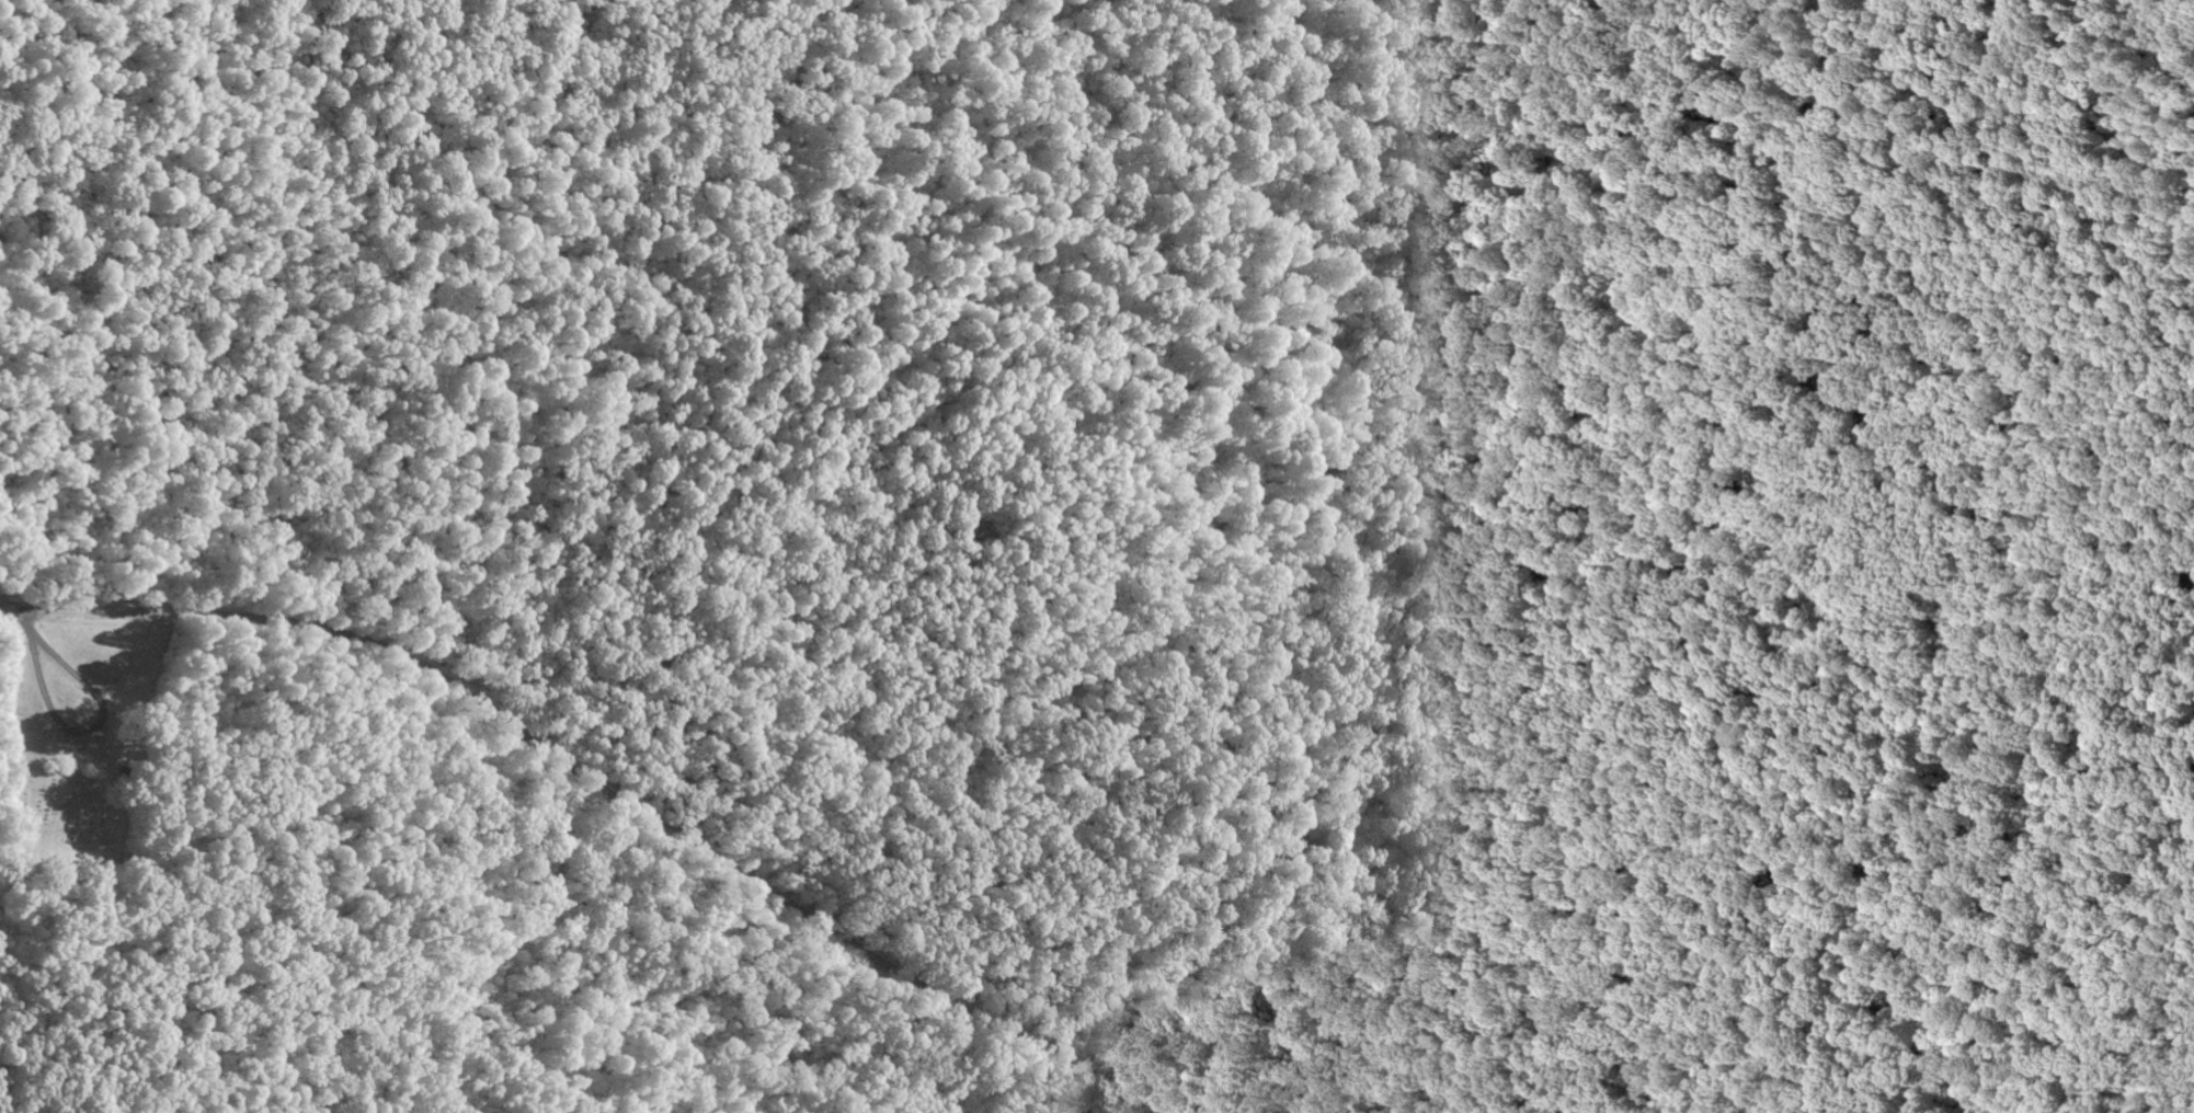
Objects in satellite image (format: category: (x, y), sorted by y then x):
road: (98, 723)
road: (599, 794)
park: (61, 808)

